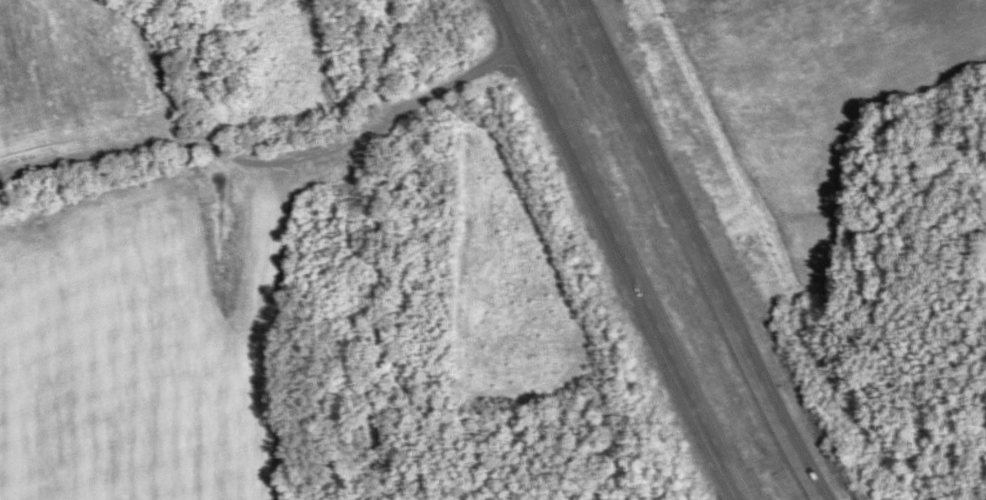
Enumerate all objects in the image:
road: (375, 226)
road: (625, 251)
road: (697, 252)

